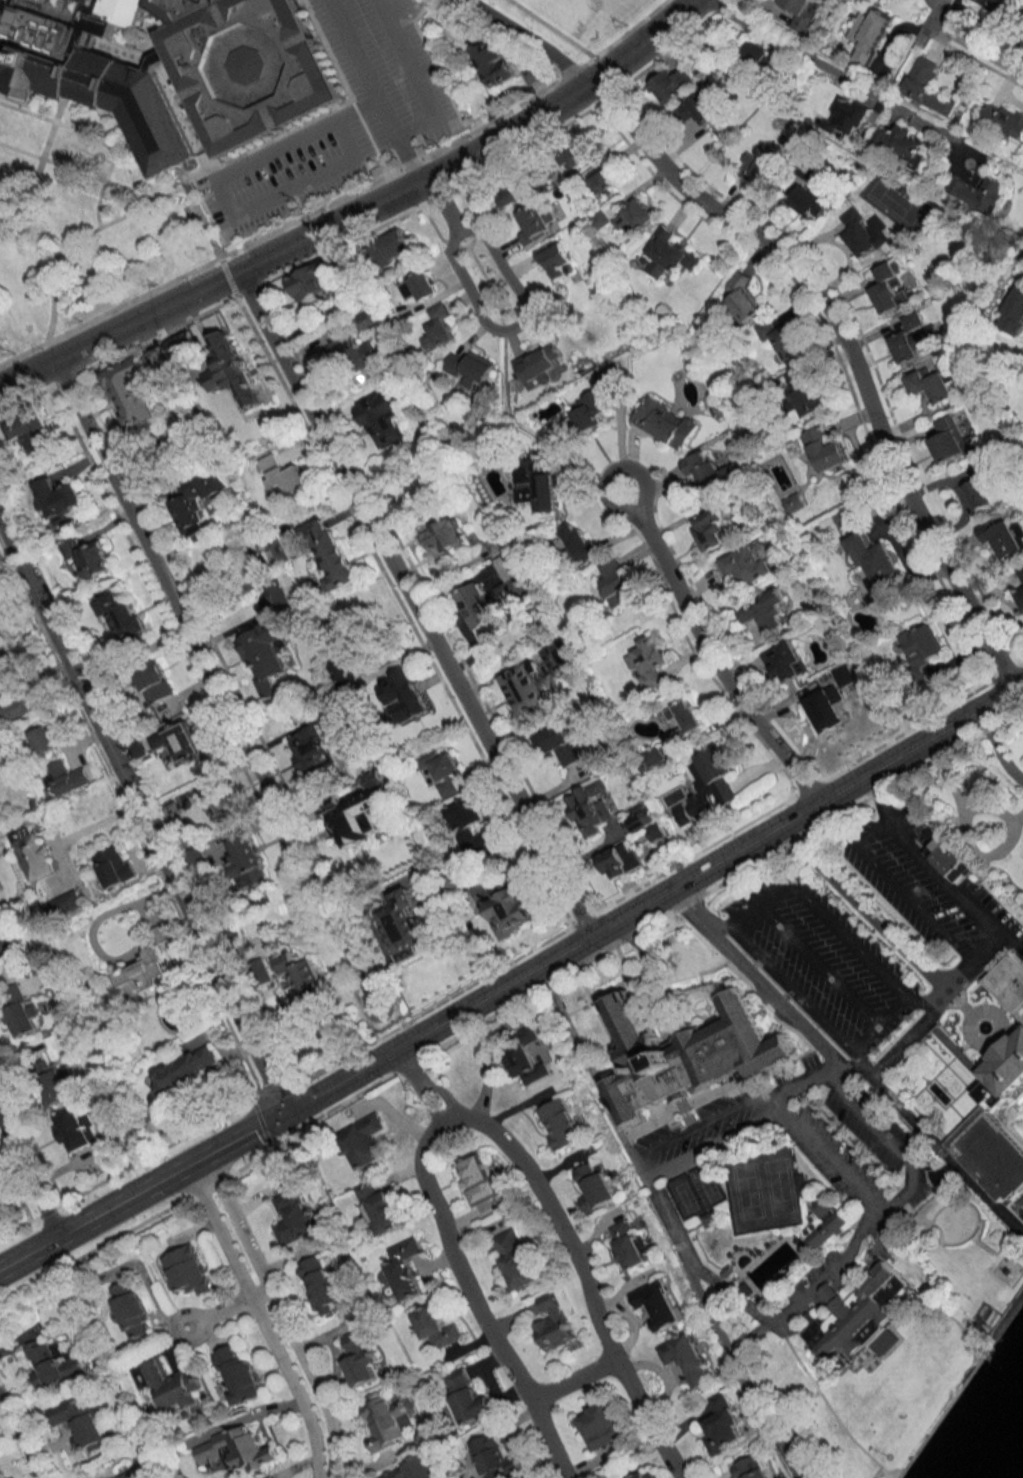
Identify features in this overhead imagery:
road: (714, 5)
building: (999, 6)
building: (803, 12)
building: (1022, 23)
road: (549, 27)
building: (868, 35)
road: (527, 37)
road: (809, 43)
road: (976, 46)
road: (663, 49)
building: (155, 57)
building: (762, 58)
road: (900, 58)
building: (492, 63)
building: (243, 64)
building: (89, 68)
road: (603, 70)
road: (842, 75)
building: (672, 85)
building: (927, 87)
road: (607, 92)
road: (562, 94)
road: (312, 111)
building: (694, 114)
building: (848, 116)
building: (1003, 118)
road: (403, 129)
road: (523, 143)
building: (902, 145)
building: (572, 153)
road: (404, 158)
building: (761, 173)
building: (601, 181)
road: (221, 192)
building: (512, 192)
road: (436, 193)
building: (981, 193)
road: (339, 197)
building: (809, 202)
road: (197, 209)
building: (635, 215)
building: (599, 219)
road: (331, 221)
building: (534, 222)
building: (862, 233)
road: (81, 237)
road: (341, 240)
building: (390, 248)
building: (668, 254)
building: (557, 260)
road: (226, 274)
building: (309, 285)
building: (419, 286)
road: (246, 287)
building: (890, 289)
building: (742, 297)
road: (142, 311)
building: (1014, 311)
building: (367, 320)
road: (486, 323)
building: (437, 328)
road: (152, 332)
building: (182, 345)
building: (905, 347)
road: (842, 350)
building: (354, 355)
building: (158, 357)
building: (538, 366)
road: (25, 367)
building: (469, 367)
building: (231, 371)
road: (61, 376)
building: (931, 383)
building: (807, 391)
road: (26, 393)
building: (133, 395)
building: (586, 415)
building: (383, 418)
building: (665, 423)
building: (29, 431)
building: (951, 439)
building: (821, 447)
building: (709, 473)
building: (284, 478)
building: (535, 484)
building: (983, 492)
building: (59, 497)
building: (199, 503)
building: (711, 529)
building: (446, 536)
building: (1004, 536)
building: (579, 543)
building: (331, 554)
building: (271, 556)
building: (89, 557)
building: (875, 558)
building: (747, 565)
building: (506, 566)
building: (1020, 573)
building: (614, 580)
building: (280, 593)
building: (1020, 596)
road: (412, 600)
building: (479, 609)
building: (765, 612)
building: (121, 615)
building: (2, 618)
building: (923, 645)
road: (707, 651)
building: (267, 656)
building: (556, 659)
building: (648, 661)
building: (785, 661)
road: (212, 679)
building: (155, 685)
building: (527, 688)
building: (405, 696)
building: (23, 705)
building: (825, 708)
building: (686, 718)
building: (43, 739)
building: (181, 742)
building: (562, 745)
road: (996, 746)
building: (138, 748)
building: (315, 753)
building: (653, 757)
road: (881, 763)
building: (445, 773)
building: (64, 777)
building: (707, 785)
road: (875, 794)
building: (217, 800)
building: (591, 807)
road: (139, 814)
building: (355, 817)
building: (645, 822)
building: (470, 828)
road: (872, 829)
building: (31, 851)
building: (246, 856)
building: (948, 859)
building: (621, 860)
building: (199, 865)
building: (114, 866)
road: (954, 887)
road: (664, 889)
road: (912, 898)
road: (860, 899)
road: (817, 902)
building: (66, 904)
building: (509, 911)
building: (403, 928)
road: (637, 937)
building: (5, 949)
building: (144, 974)
road: (756, 974)
building: (303, 980)
building: (1008, 984)
road: (788, 986)
road: (918, 996)
building: (18, 1011)
road: (435, 1023)
building: (686, 1045)
road: (397, 1046)
building: (524, 1056)
road: (485, 1060)
building: (184, 1071)
building: (1004, 1073)
building: (56, 1082)
road: (735, 1106)
road: (610, 1111)
traffic signals: (279, 1113)
road: (445, 1114)
building: (559, 1124)
building: (75, 1129)
road: (886, 1136)
building: (363, 1141)
road: (934, 1144)
road: (825, 1147)
building: (989, 1152)
road: (28, 1176)
building: (479, 1178)
building: (804, 1184)
park: (709, 1185)
building: (593, 1186)
road: (139, 1189)
park: (763, 1189)
park: (687, 1196)
building: (379, 1209)
building: (293, 1217)
building: (711, 1219)
building: (822, 1220)
building: (629, 1244)
building: (515, 1259)
building: (404, 1268)
building: (186, 1270)
road: (583, 1279)
building: (322, 1285)
road: (479, 1300)
road: (792, 1301)
building: (657, 1303)
building: (131, 1309)
building: (851, 1311)
road: (280, 1312)
road: (220, 1313)
road: (260, 1318)
building: (552, 1322)
building: (436, 1327)
building: (886, 1343)
building: (360, 1357)
building: (687, 1359)
building: (52, 1365)
road: (740, 1371)
building: (238, 1374)
road: (574, 1380)
building: (175, 1385)
building: (467, 1397)
building: (384, 1420)
building: (80, 1422)
building: (601, 1425)
building: (723, 1426)
road: (18, 1438)
building: (237, 1449)
building: (496, 1458)
building: (752, 1467)
building: (414, 1469)
building: (128, 1475)
building: (649, 1475)

